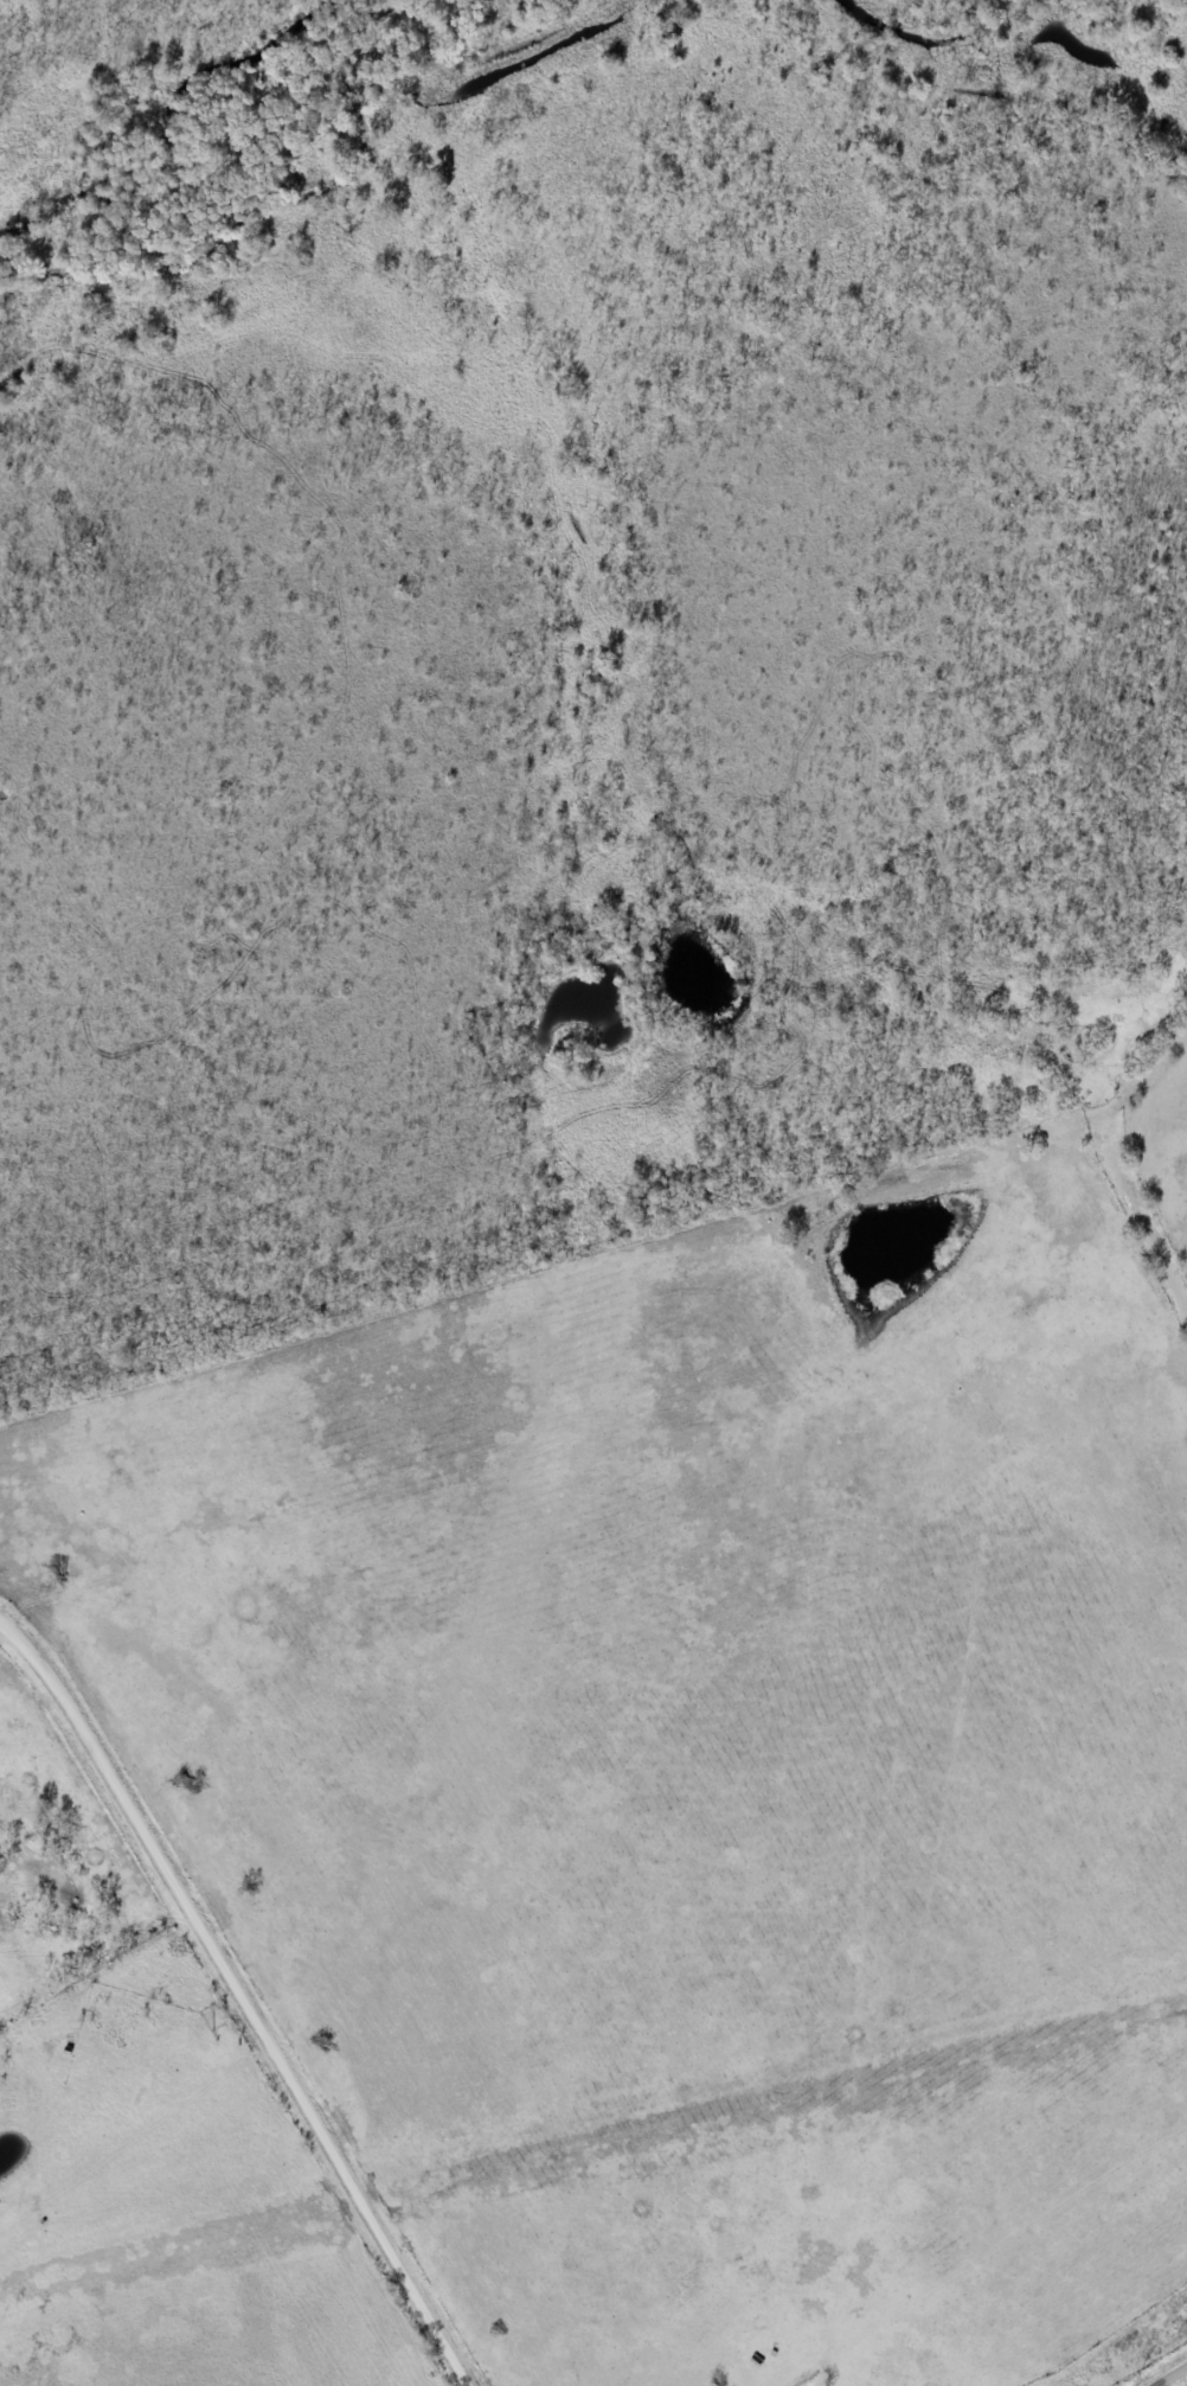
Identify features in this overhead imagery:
road: (249, 1994)
road: (1176, 2380)

